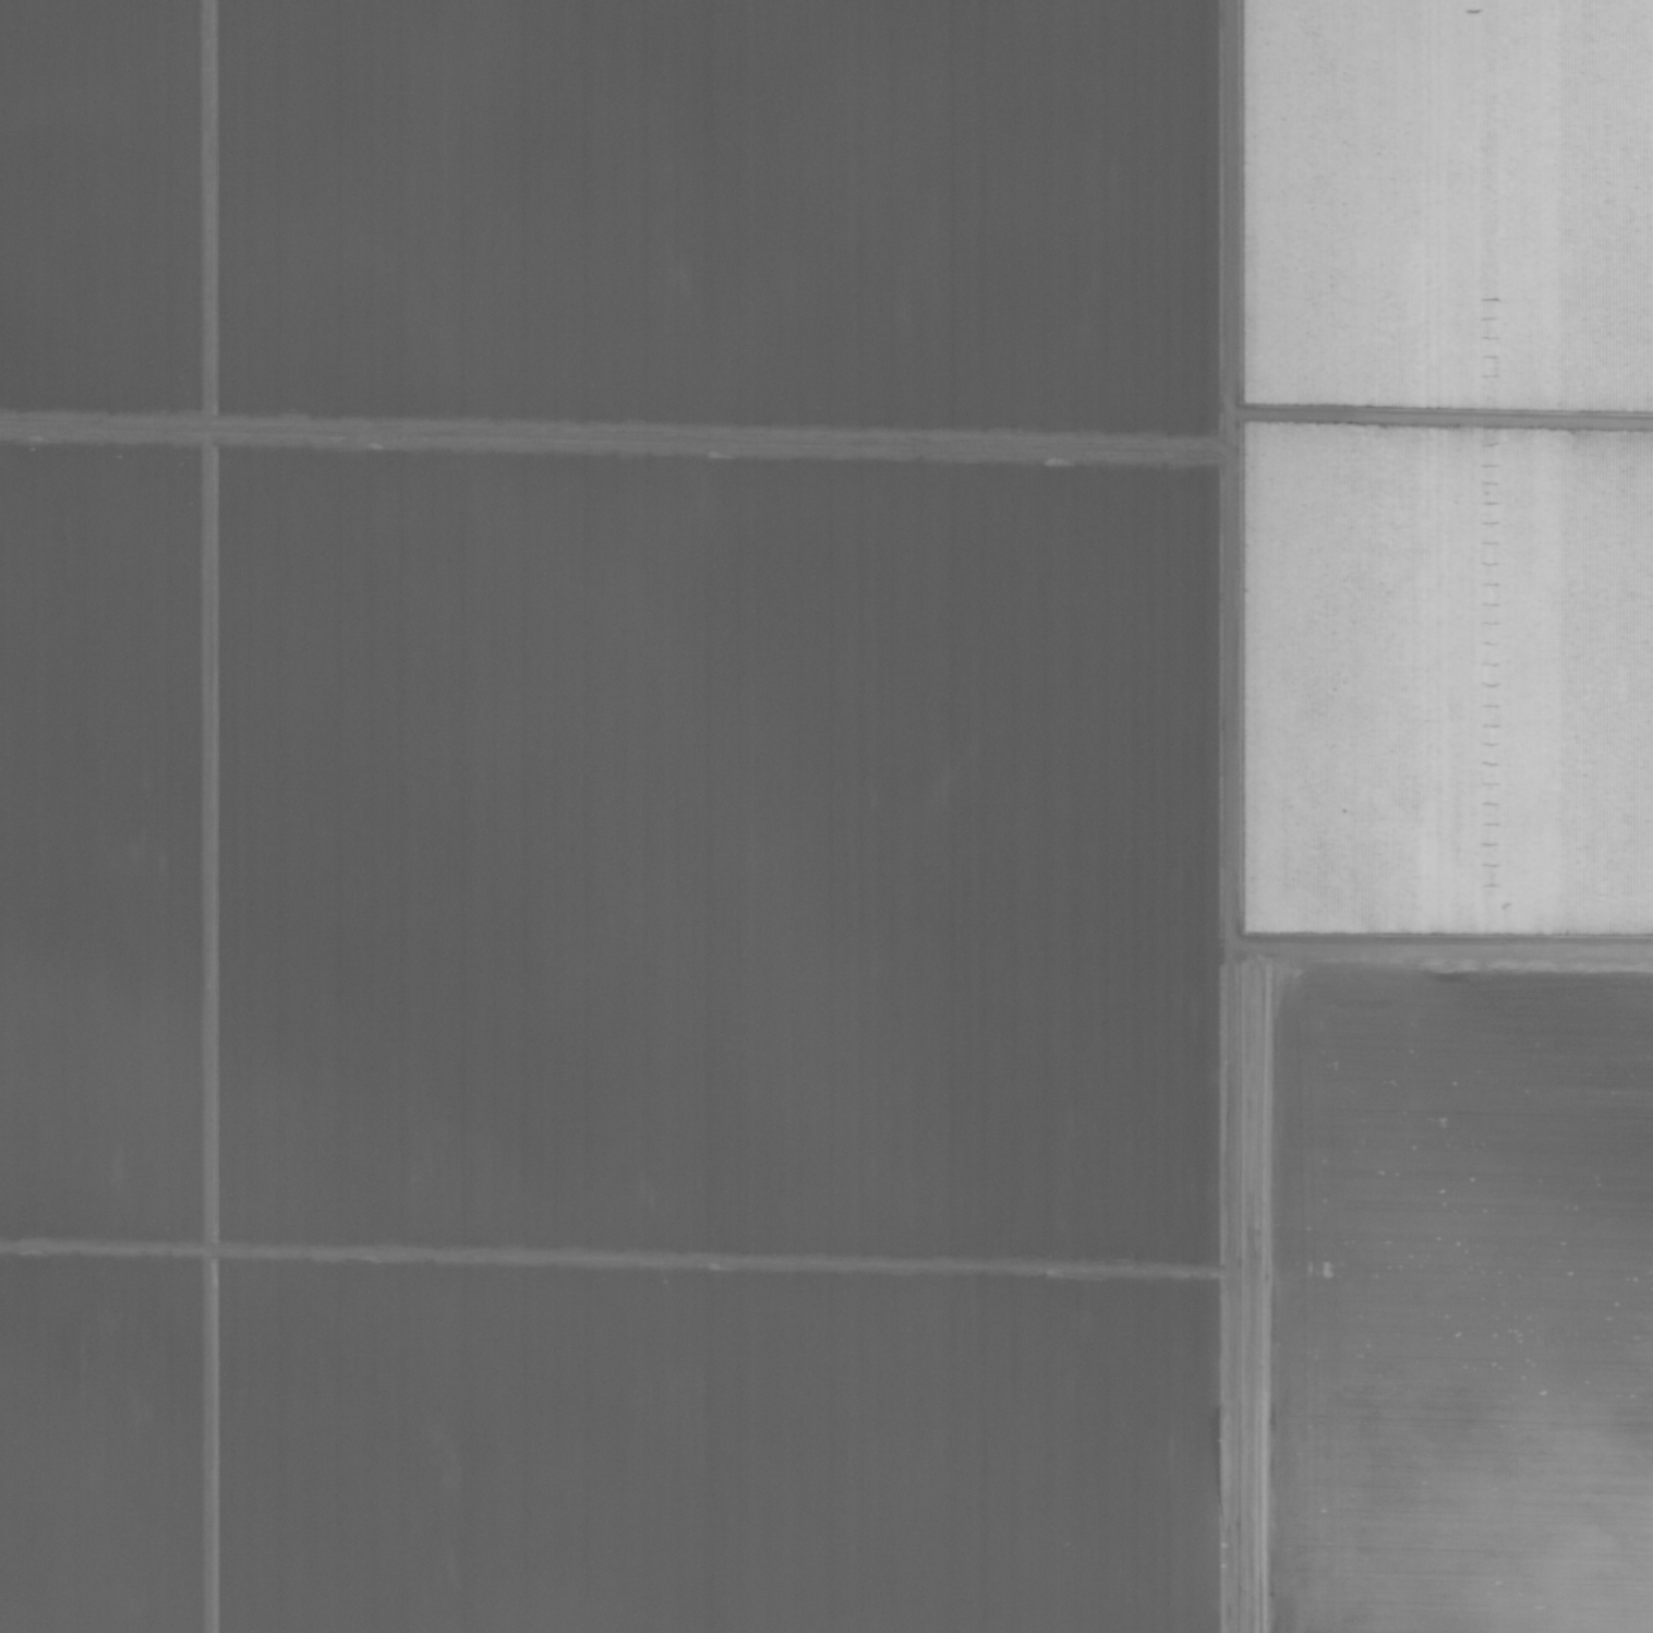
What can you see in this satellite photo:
crop: (826, 816)

